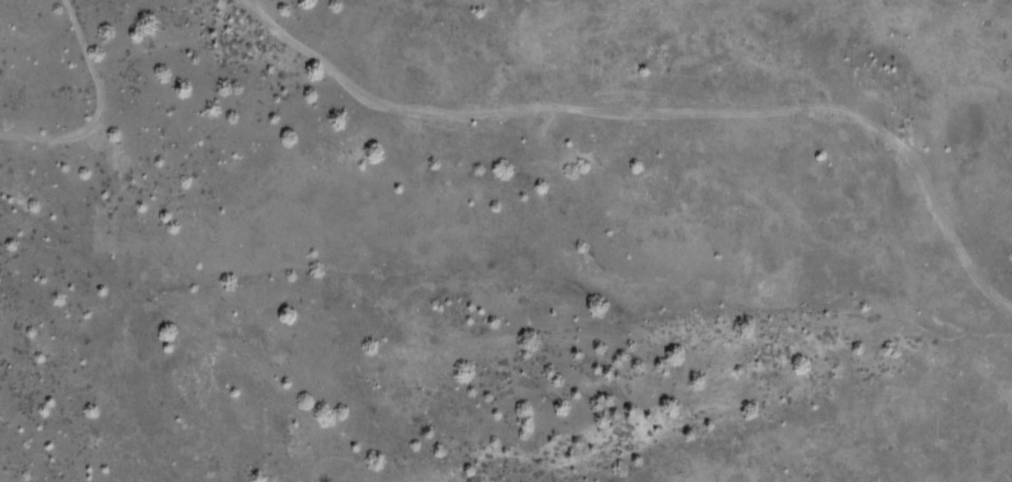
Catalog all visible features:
road: (94, 104)
road: (660, 108)

